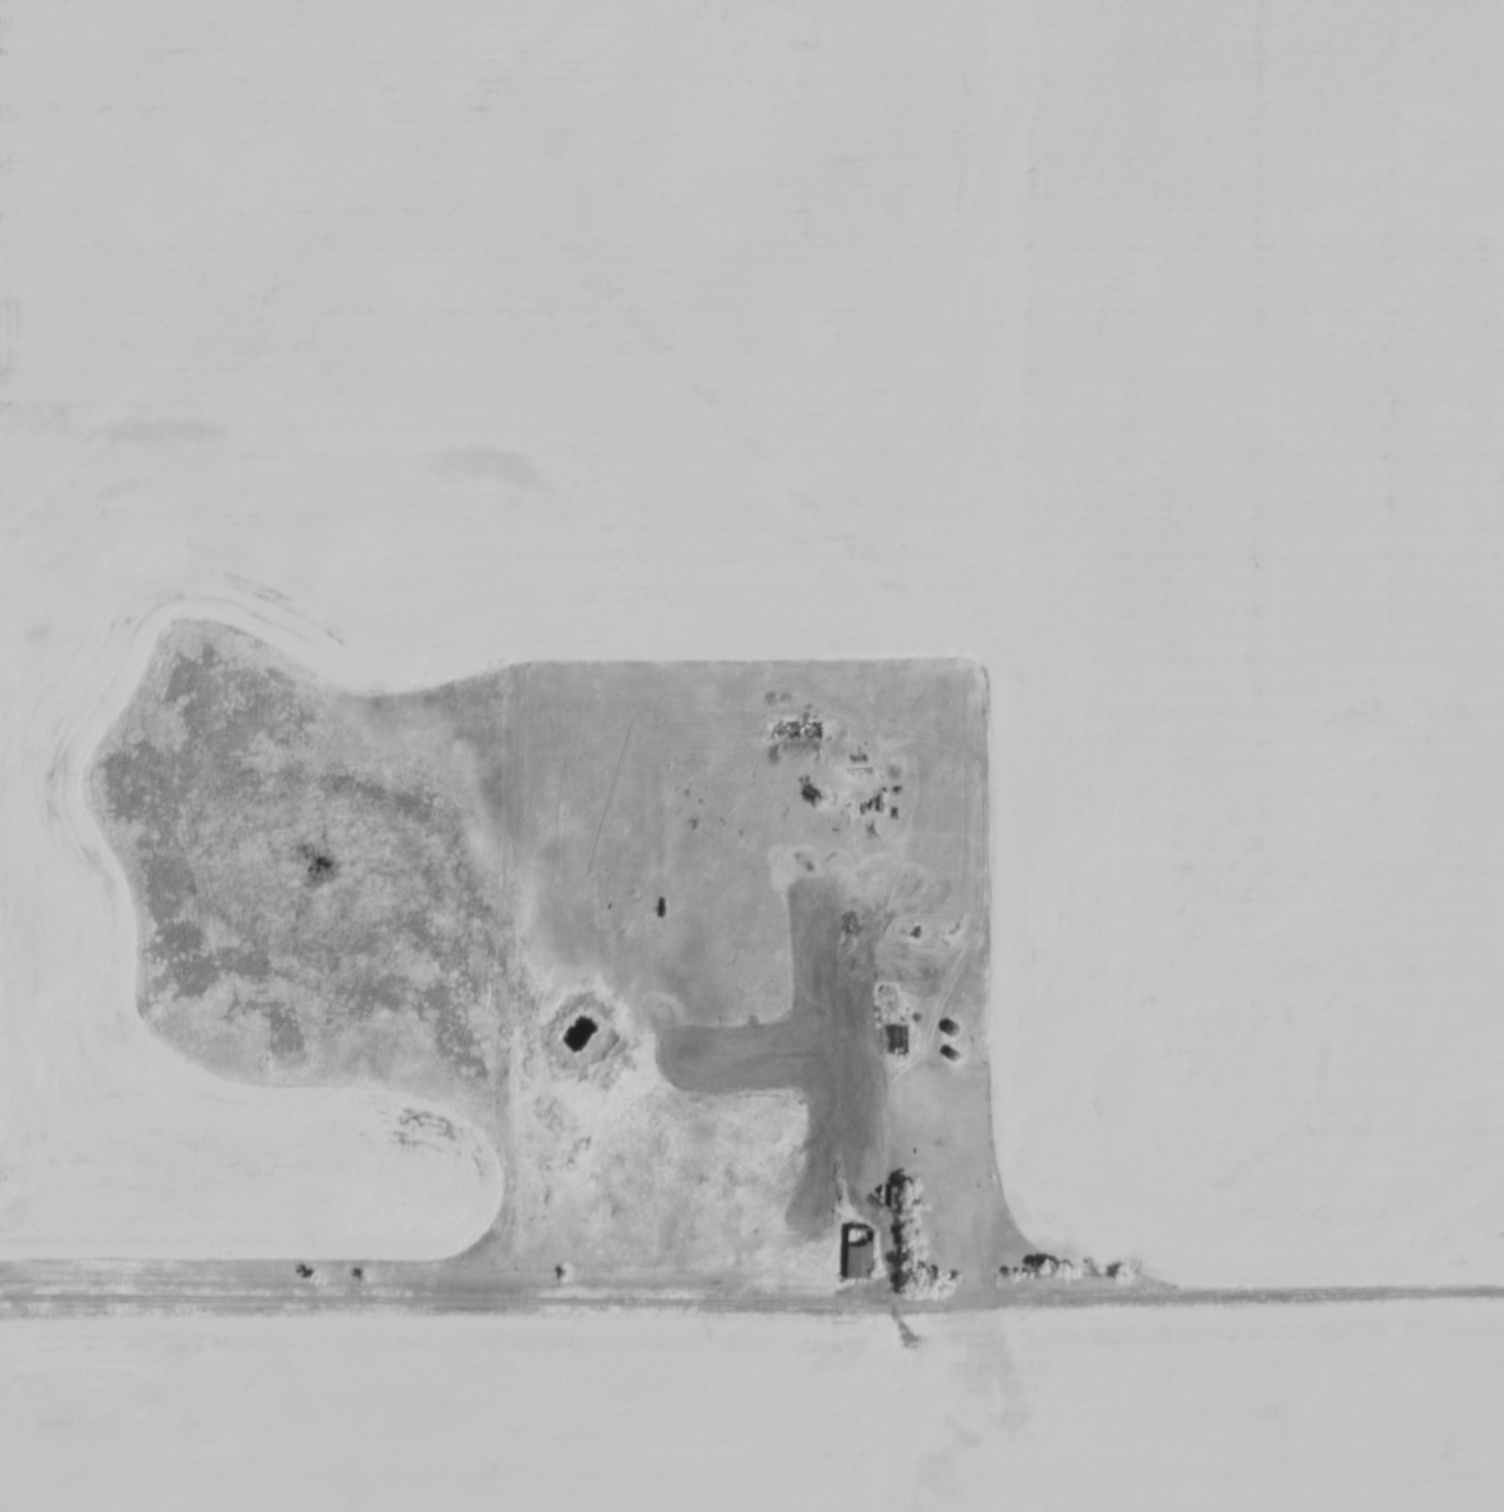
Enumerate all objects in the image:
building: (895, 1038)
road: (889, 1179)
building: (861, 1252)
road: (752, 1298)

